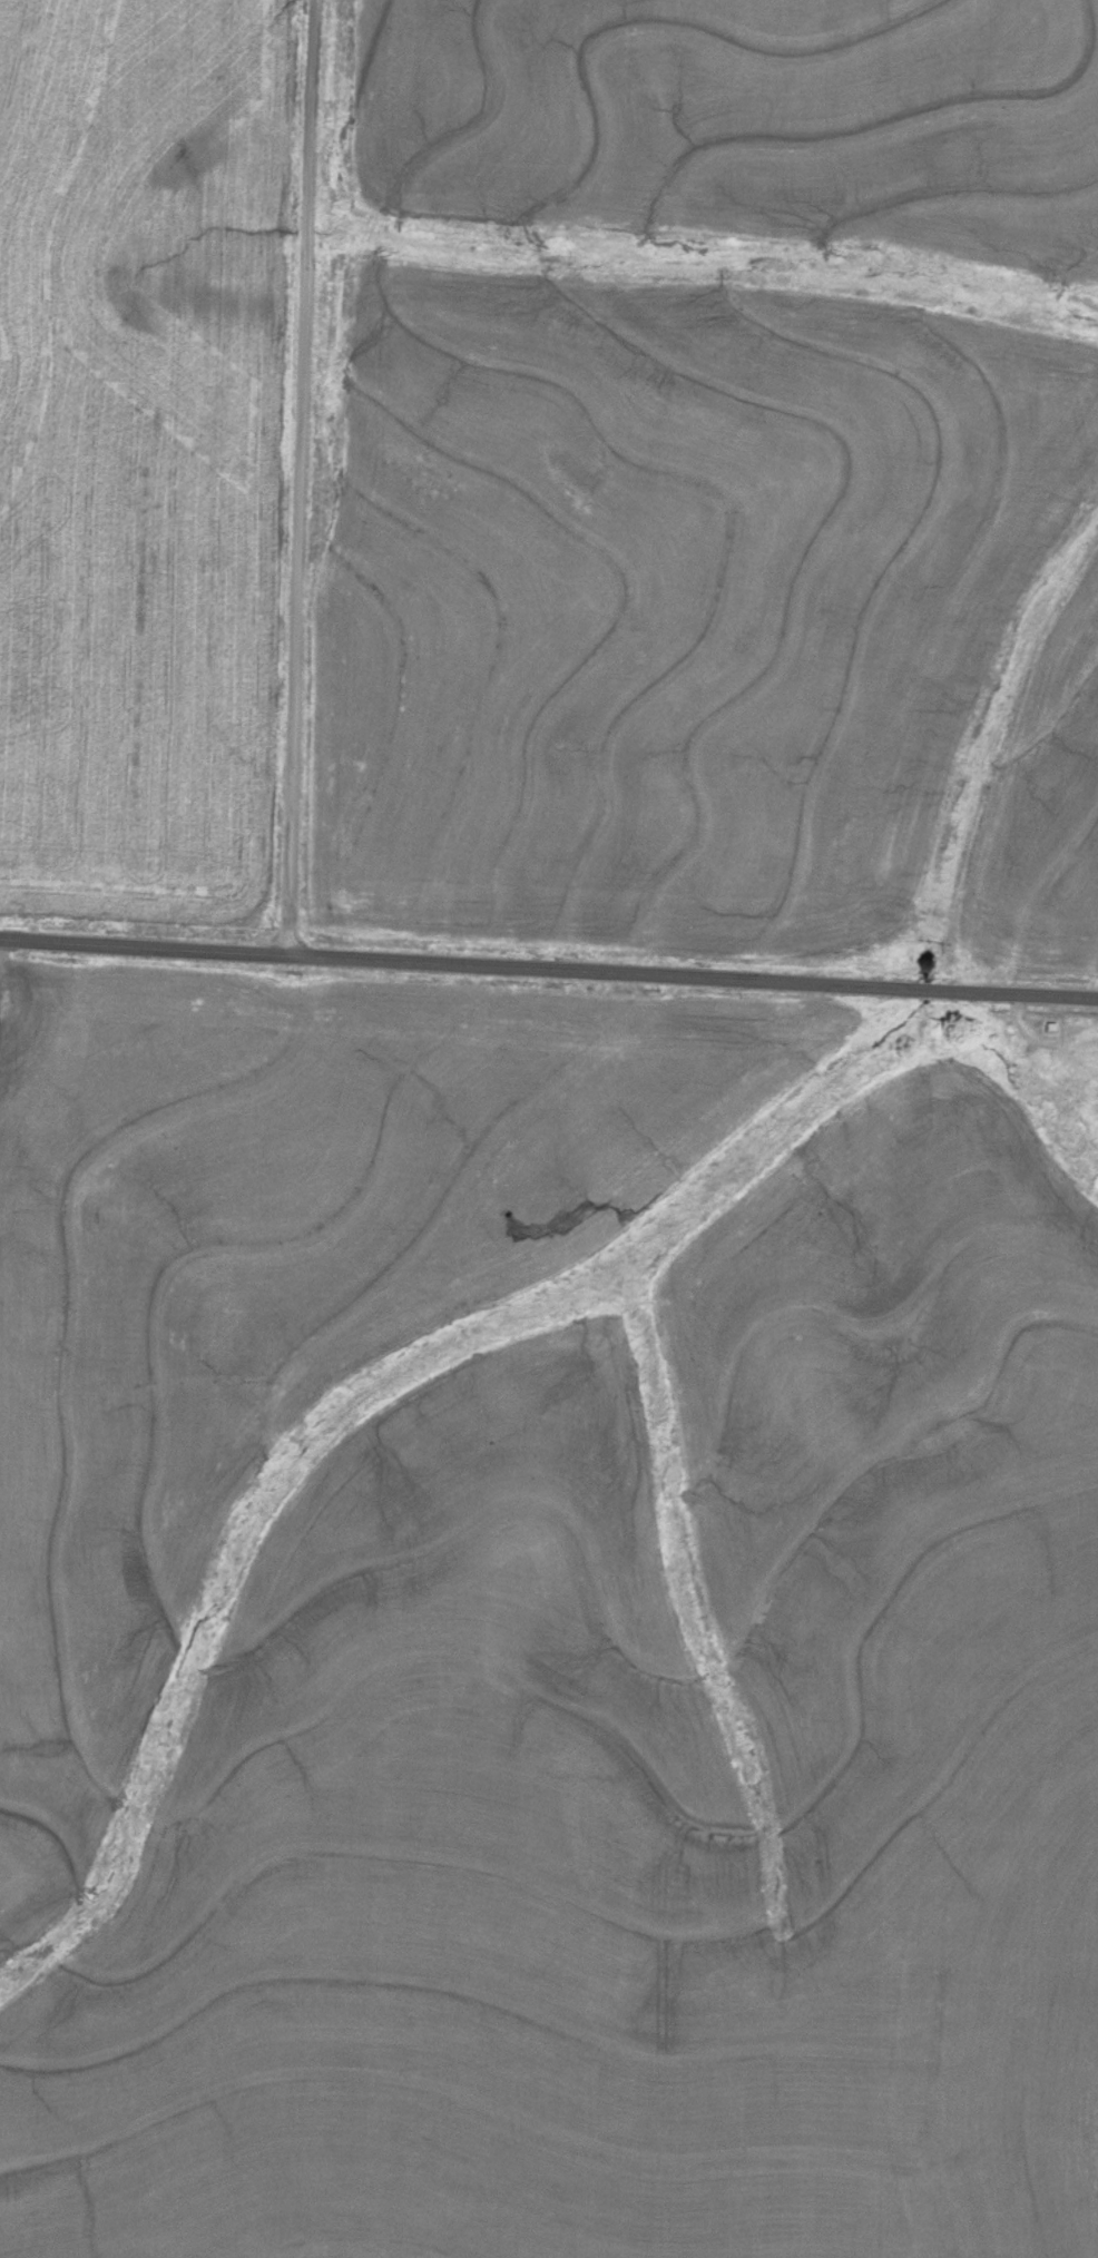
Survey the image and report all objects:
road: (302, 478)
road: (548, 969)

